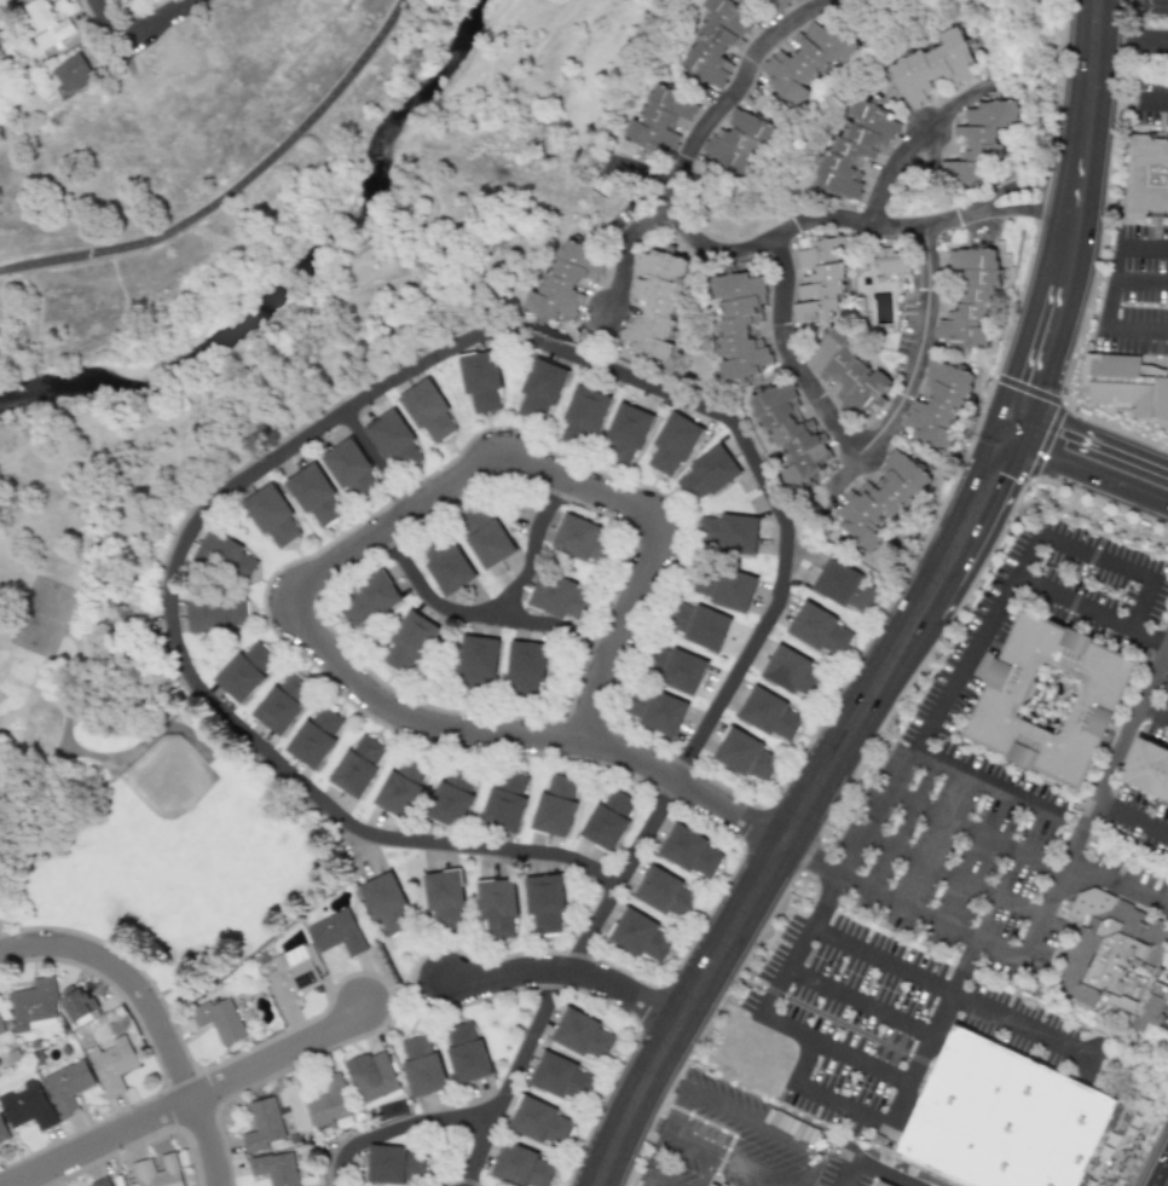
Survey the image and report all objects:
road: (1133, 1)
building: (788, 2)
road: (110, 21)
road: (156, 21)
building: (46, 24)
building: (718, 40)
road: (1132, 42)
building: (809, 58)
building: (937, 65)
building: (73, 74)
road: (1157, 98)
building: (665, 117)
road: (242, 123)
building: (740, 137)
building: (982, 139)
road: (915, 145)
building: (858, 149)
road: (643, 173)
building: (1150, 177)
building: (623, 181)
road: (231, 187)
road: (98, 201)
road: (93, 222)
road: (1077, 226)
road: (1144, 247)
road: (628, 251)
road: (735, 255)
building: (894, 260)
river: (300, 268)
building: (823, 278)
road: (1141, 278)
building: (567, 282)
road: (1112, 287)
building: (973, 299)
building: (657, 302)
park: (202, 317)
building: (744, 324)
road: (1137, 329)
building: (850, 371)
building: (480, 381)
traffic signals: (1034, 382)
building: (1127, 386)
building: (539, 390)
building: (942, 404)
building: (427, 411)
road: (336, 415)
building: (583, 417)
building: (792, 432)
building: (625, 433)
traffic signals: (1065, 433)
building: (393, 441)
building: (672, 445)
road: (1094, 445)
road: (865, 451)
road: (377, 461)
building: (349, 470)
traffic signals: (998, 473)
building: (706, 474)
road: (1088, 474)
road: (568, 479)
road: (844, 479)
building: (314, 496)
building: (885, 499)
building: (271, 516)
building: (727, 533)
building: (485, 537)
building: (580, 539)
road: (534, 549)
building: (1059, 554)
building: (225, 556)
building: (446, 566)
building: (722, 586)
building: (844, 586)
building: (557, 596)
building: (368, 601)
building: (216, 612)
road: (481, 615)
building: (698, 624)
building: (819, 630)
road: (979, 635)
road: (1147, 641)
building: (409, 643)
building: (476, 663)
building: (525, 669)
building: (676, 669)
building: (244, 670)
building: (790, 671)
building: (1052, 700)
building: (282, 701)
building: (655, 711)
road: (1153, 712)
building: (769, 715)
building: (314, 736)
road: (524, 736)
building: (744, 754)
building: (357, 765)
building: (1153, 769)
road: (985, 782)
building: (400, 787)
building: (451, 797)
park: (133, 800)
building: (504, 800)
road: (1097, 802)
building: (555, 805)
park: (173, 812)
road: (802, 812)
building: (607, 820)
road: (1132, 820)
road: (977, 832)
building: (689, 851)
road: (811, 858)
road: (952, 875)
road: (1116, 886)
building: (665, 893)
building: (444, 899)
building: (384, 903)
building: (544, 903)
building: (496, 907)
road: (929, 916)
building: (336, 933)
road: (4, 935)
building: (638, 936)
building: (1121, 960)
road: (567, 971)
building: (291, 973)
road: (127, 978)
road: (565, 979)
road: (948, 991)
road: (857, 1002)
building: (76, 1003)
building: (34, 1006)
building: (219, 1020)
road: (931, 1032)
building: (582, 1035)
road: (833, 1047)
building: (466, 1053)
building: (112, 1065)
building: (421, 1066)
building: (372, 1076)
building: (560, 1078)
building: (68, 1087)
road: (816, 1095)
road: (190, 1100)
building: (329, 1105)
building: (27, 1106)
building: (1013, 1121)
building: (540, 1123)
building: (262, 1124)
road: (761, 1127)
road: (399, 1129)
building: (2, 1135)
road: (209, 1141)
road: (710, 1151)
building: (394, 1164)
building: (520, 1167)
building: (274, 1169)
building: (157, 1171)
road: (851, 1173)
road: (885, 1173)
building: (100, 1182)
building: (880, 1185)

